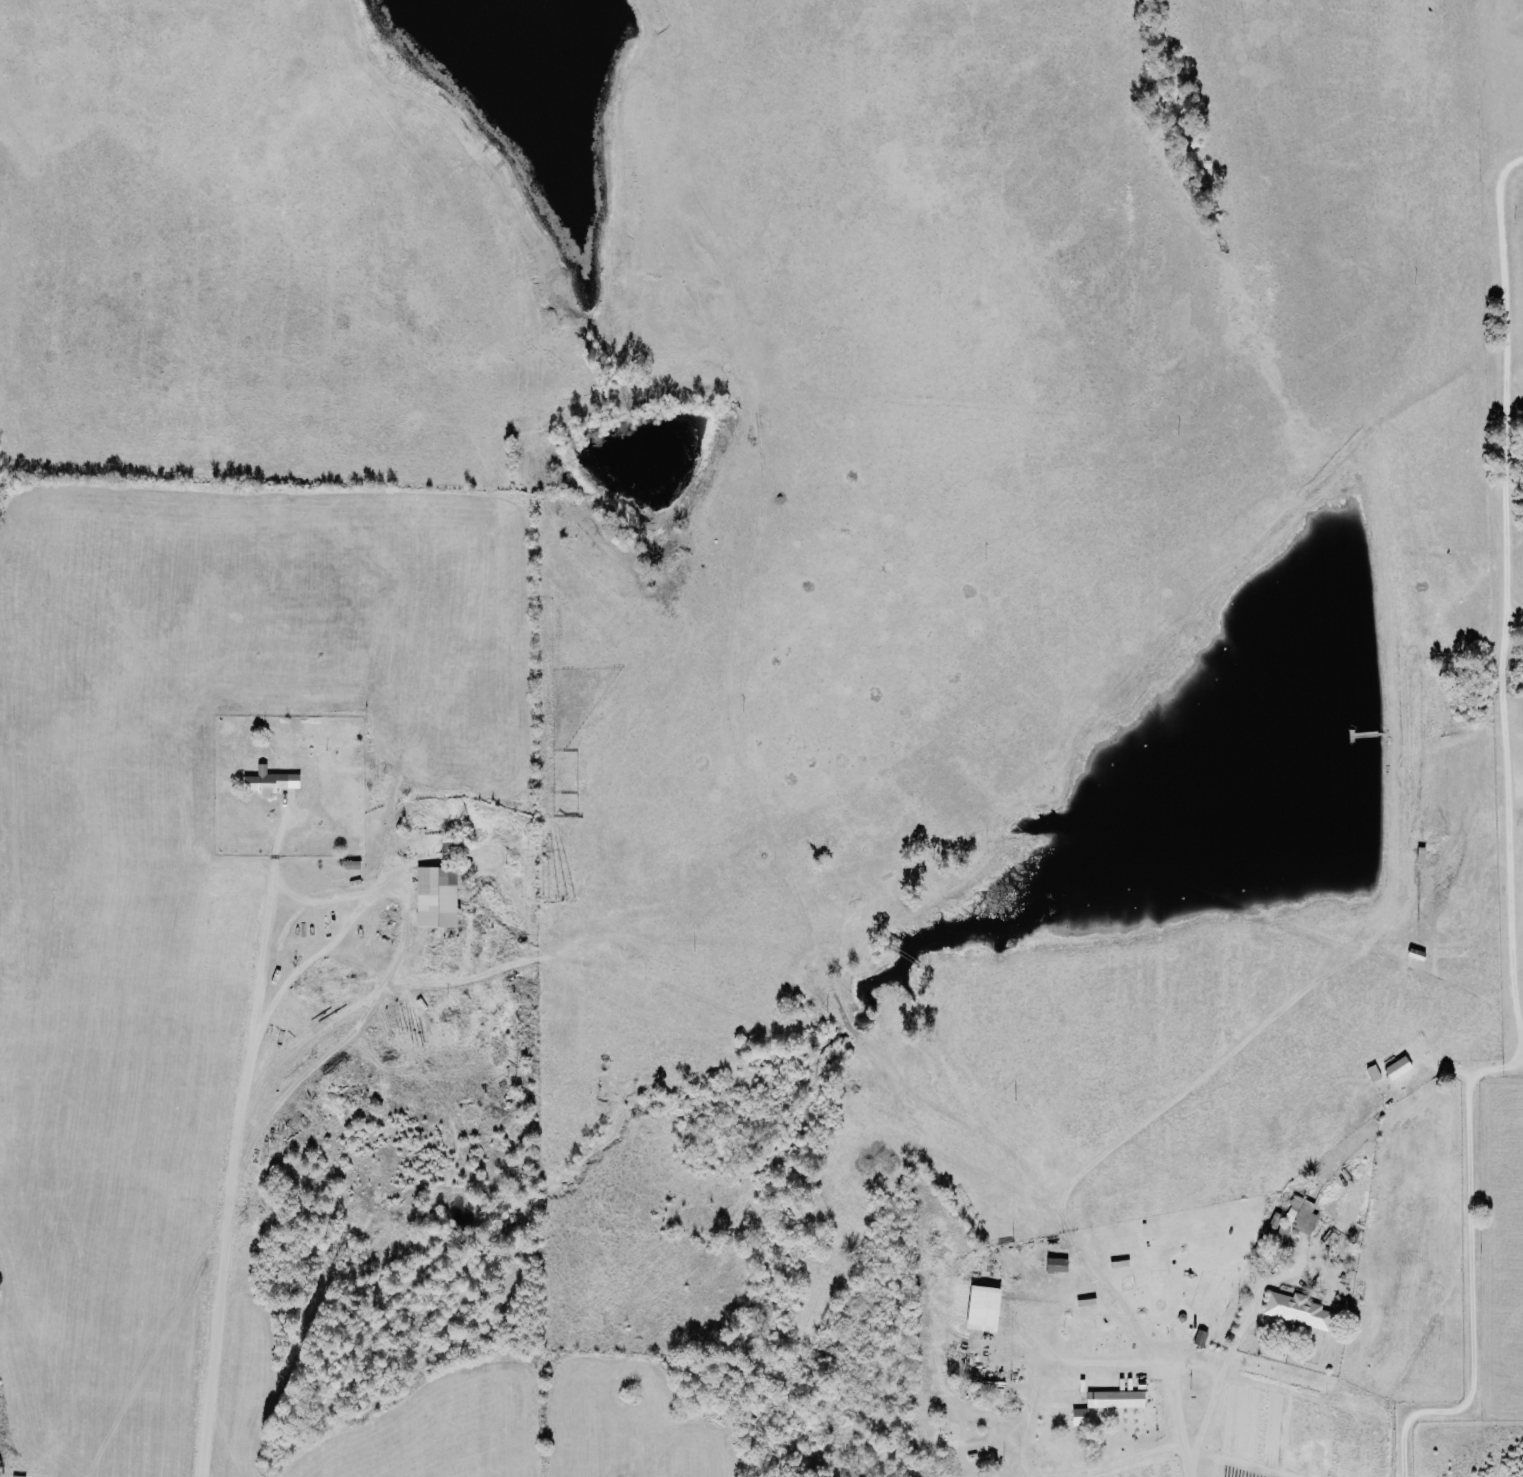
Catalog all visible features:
road: (1512, 620)
building: (274, 782)
road: (1506, 854)
building: (440, 899)
building: (1401, 1069)
road: (230, 1133)
building: (1301, 1219)
building: (1061, 1265)
building: (1301, 1311)
road: (1131, 1366)
road: (1195, 1366)
road: (1223, 1381)
building: (1120, 1400)
building: (1084, 1417)
road: (1023, 1451)
road: (207, 1452)
road: (1125, 1462)
building: (22, 1476)

